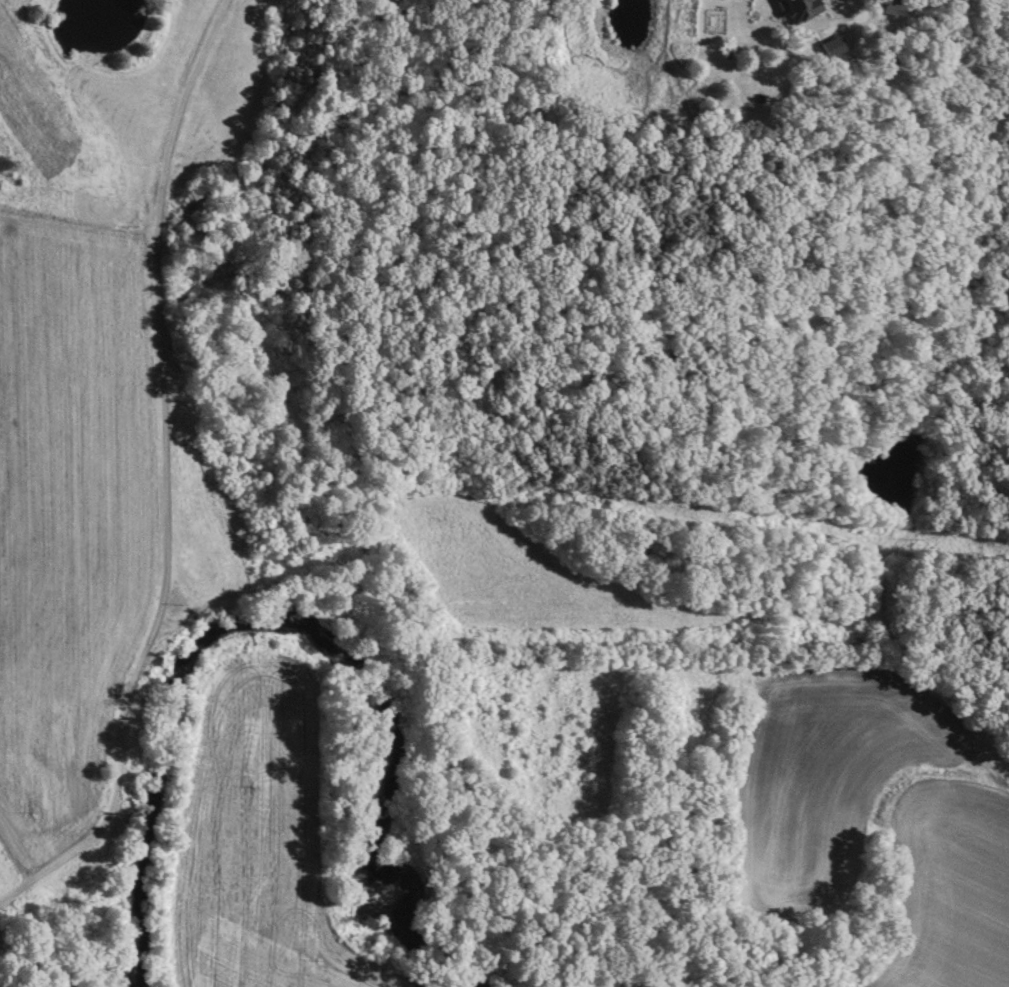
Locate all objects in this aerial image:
building: (896, 15)
road: (164, 476)
river: (282, 630)

